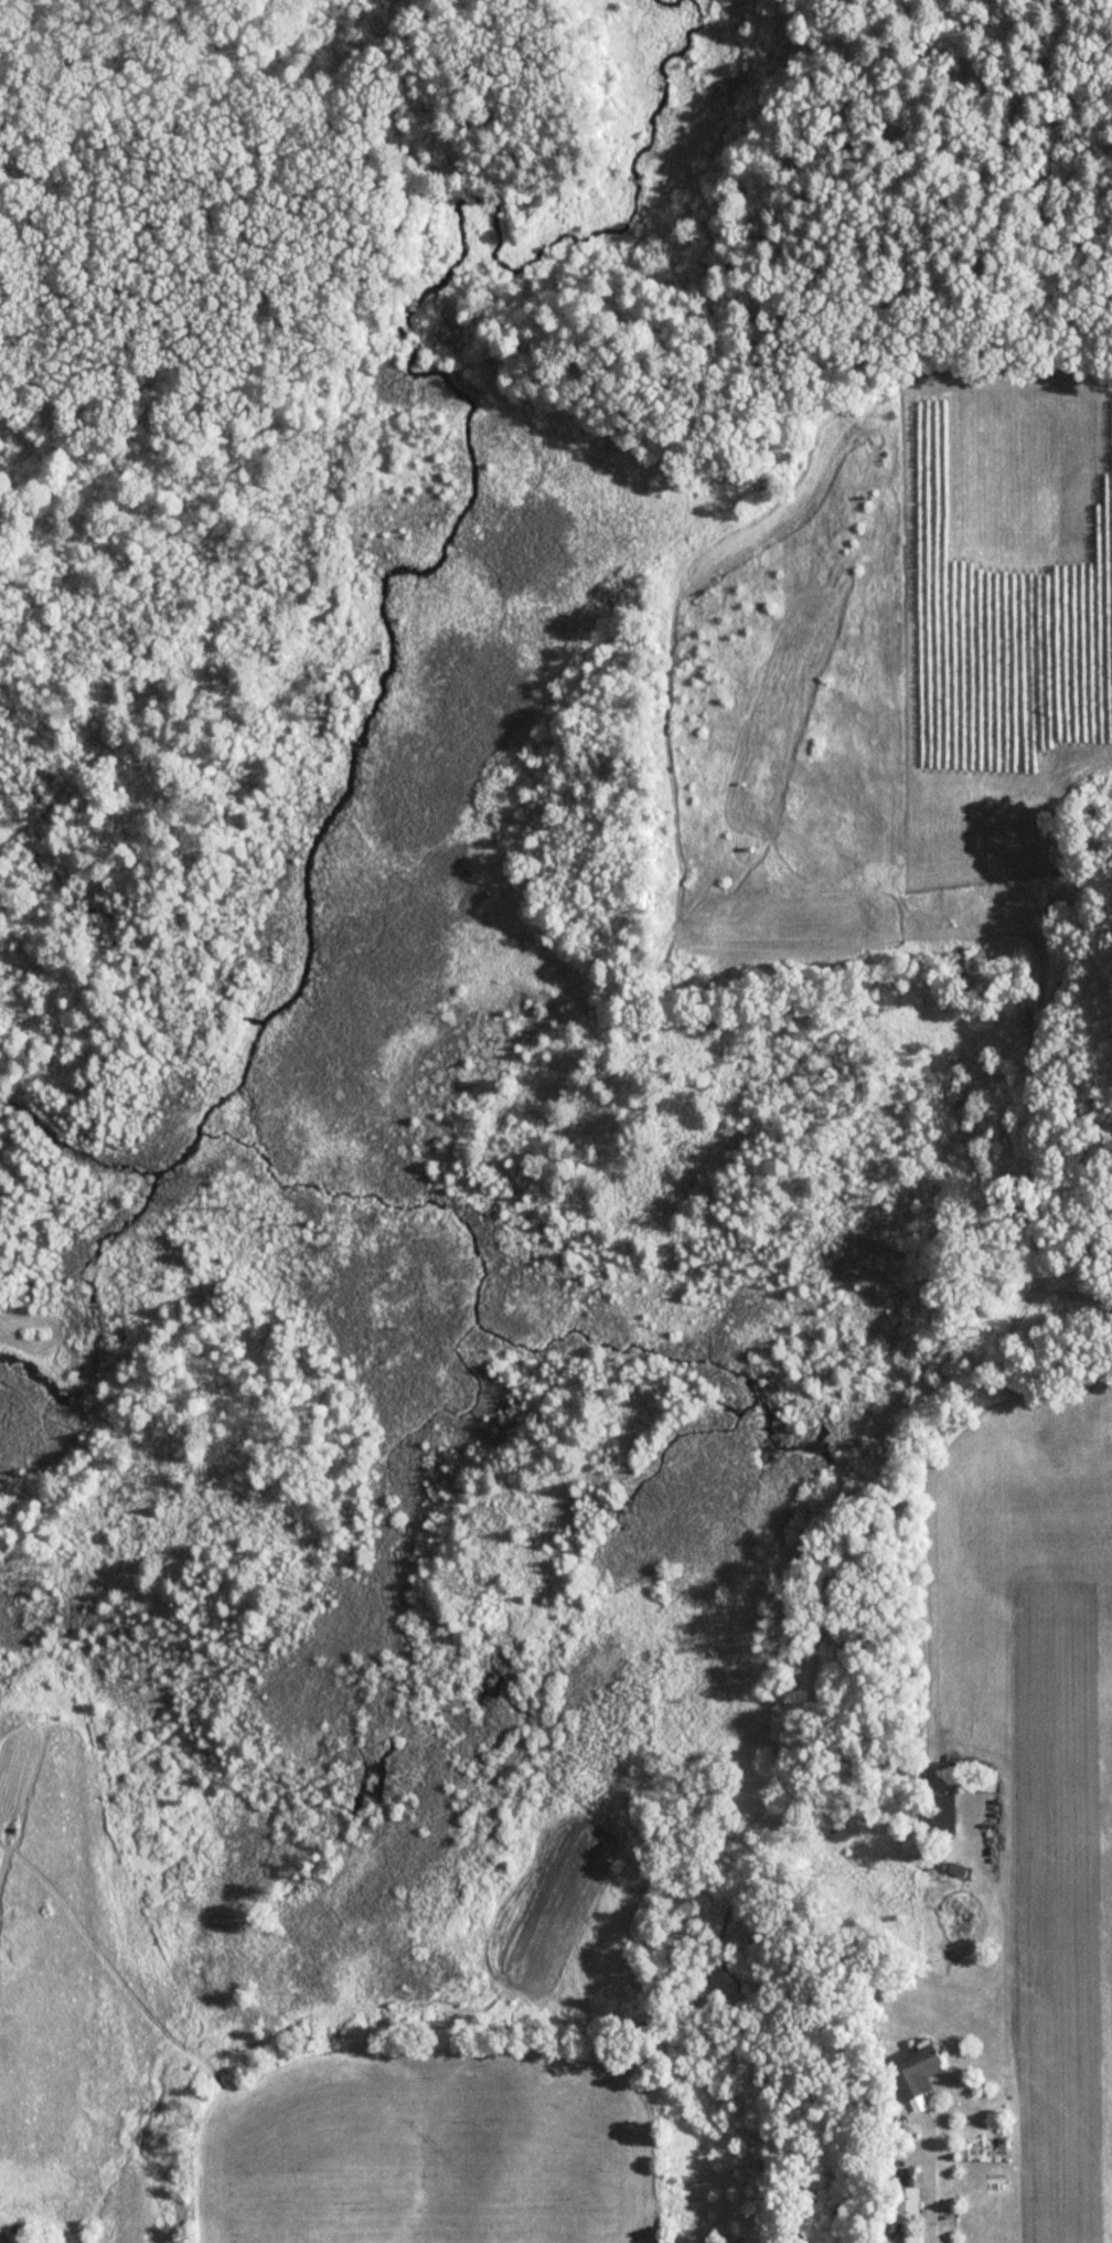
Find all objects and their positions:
building: (975, 1785)
building: (941, 1815)
building: (908, 1843)
building: (912, 2073)
road: (928, 2171)
building: (905, 2205)
building: (763, 2207)

